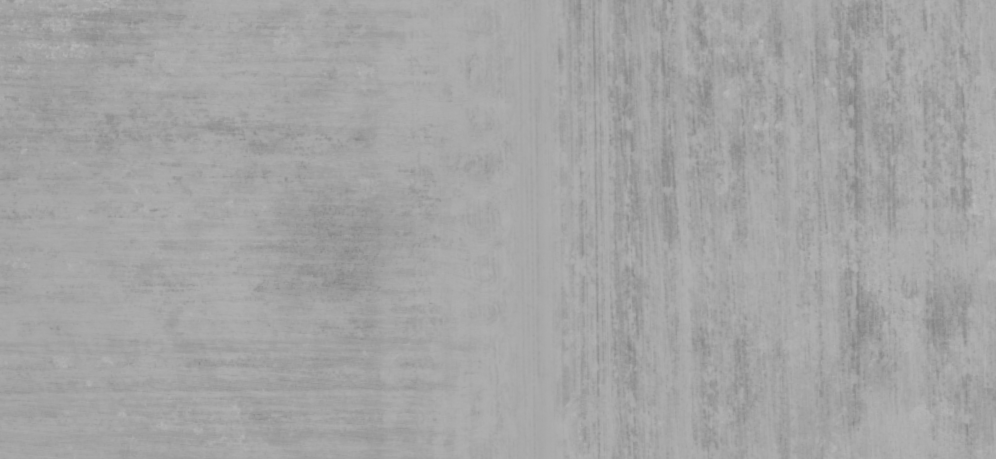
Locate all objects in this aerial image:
road: (531, 229)

